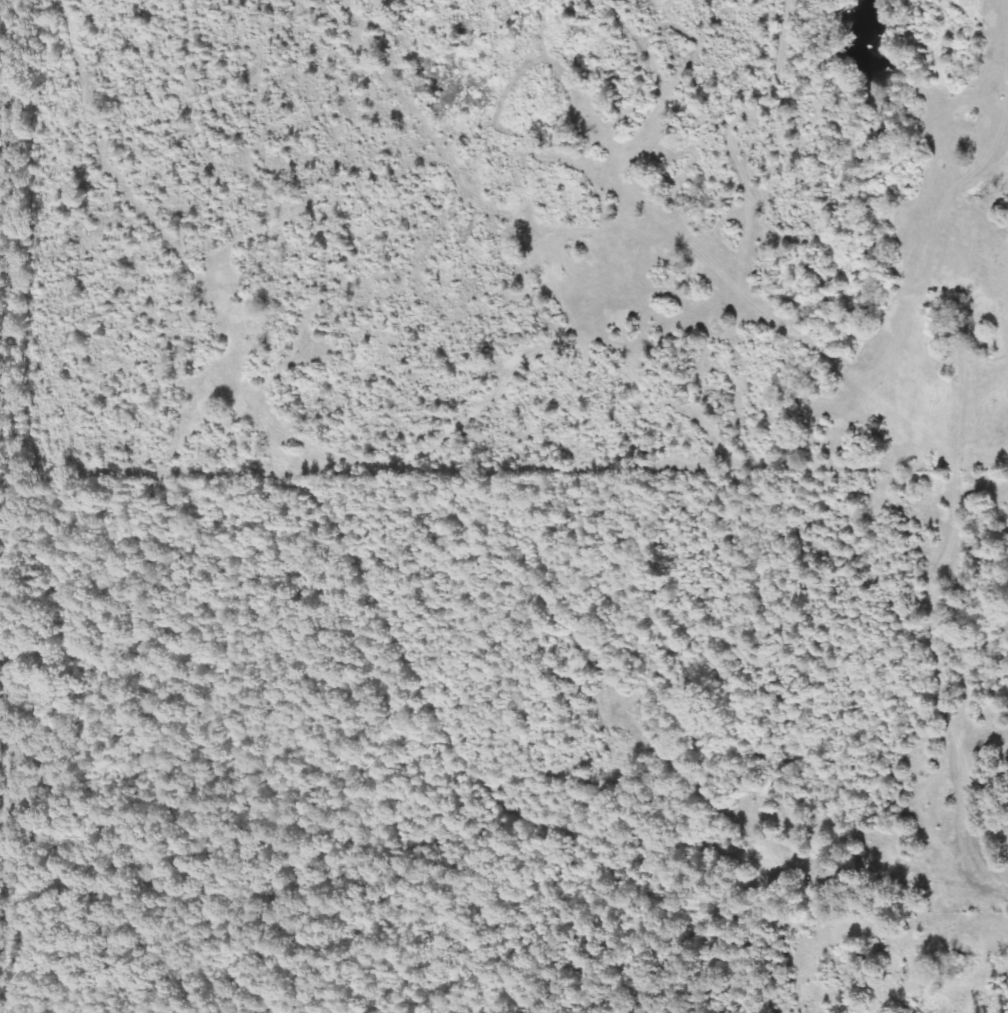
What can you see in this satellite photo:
road: (972, 908)

